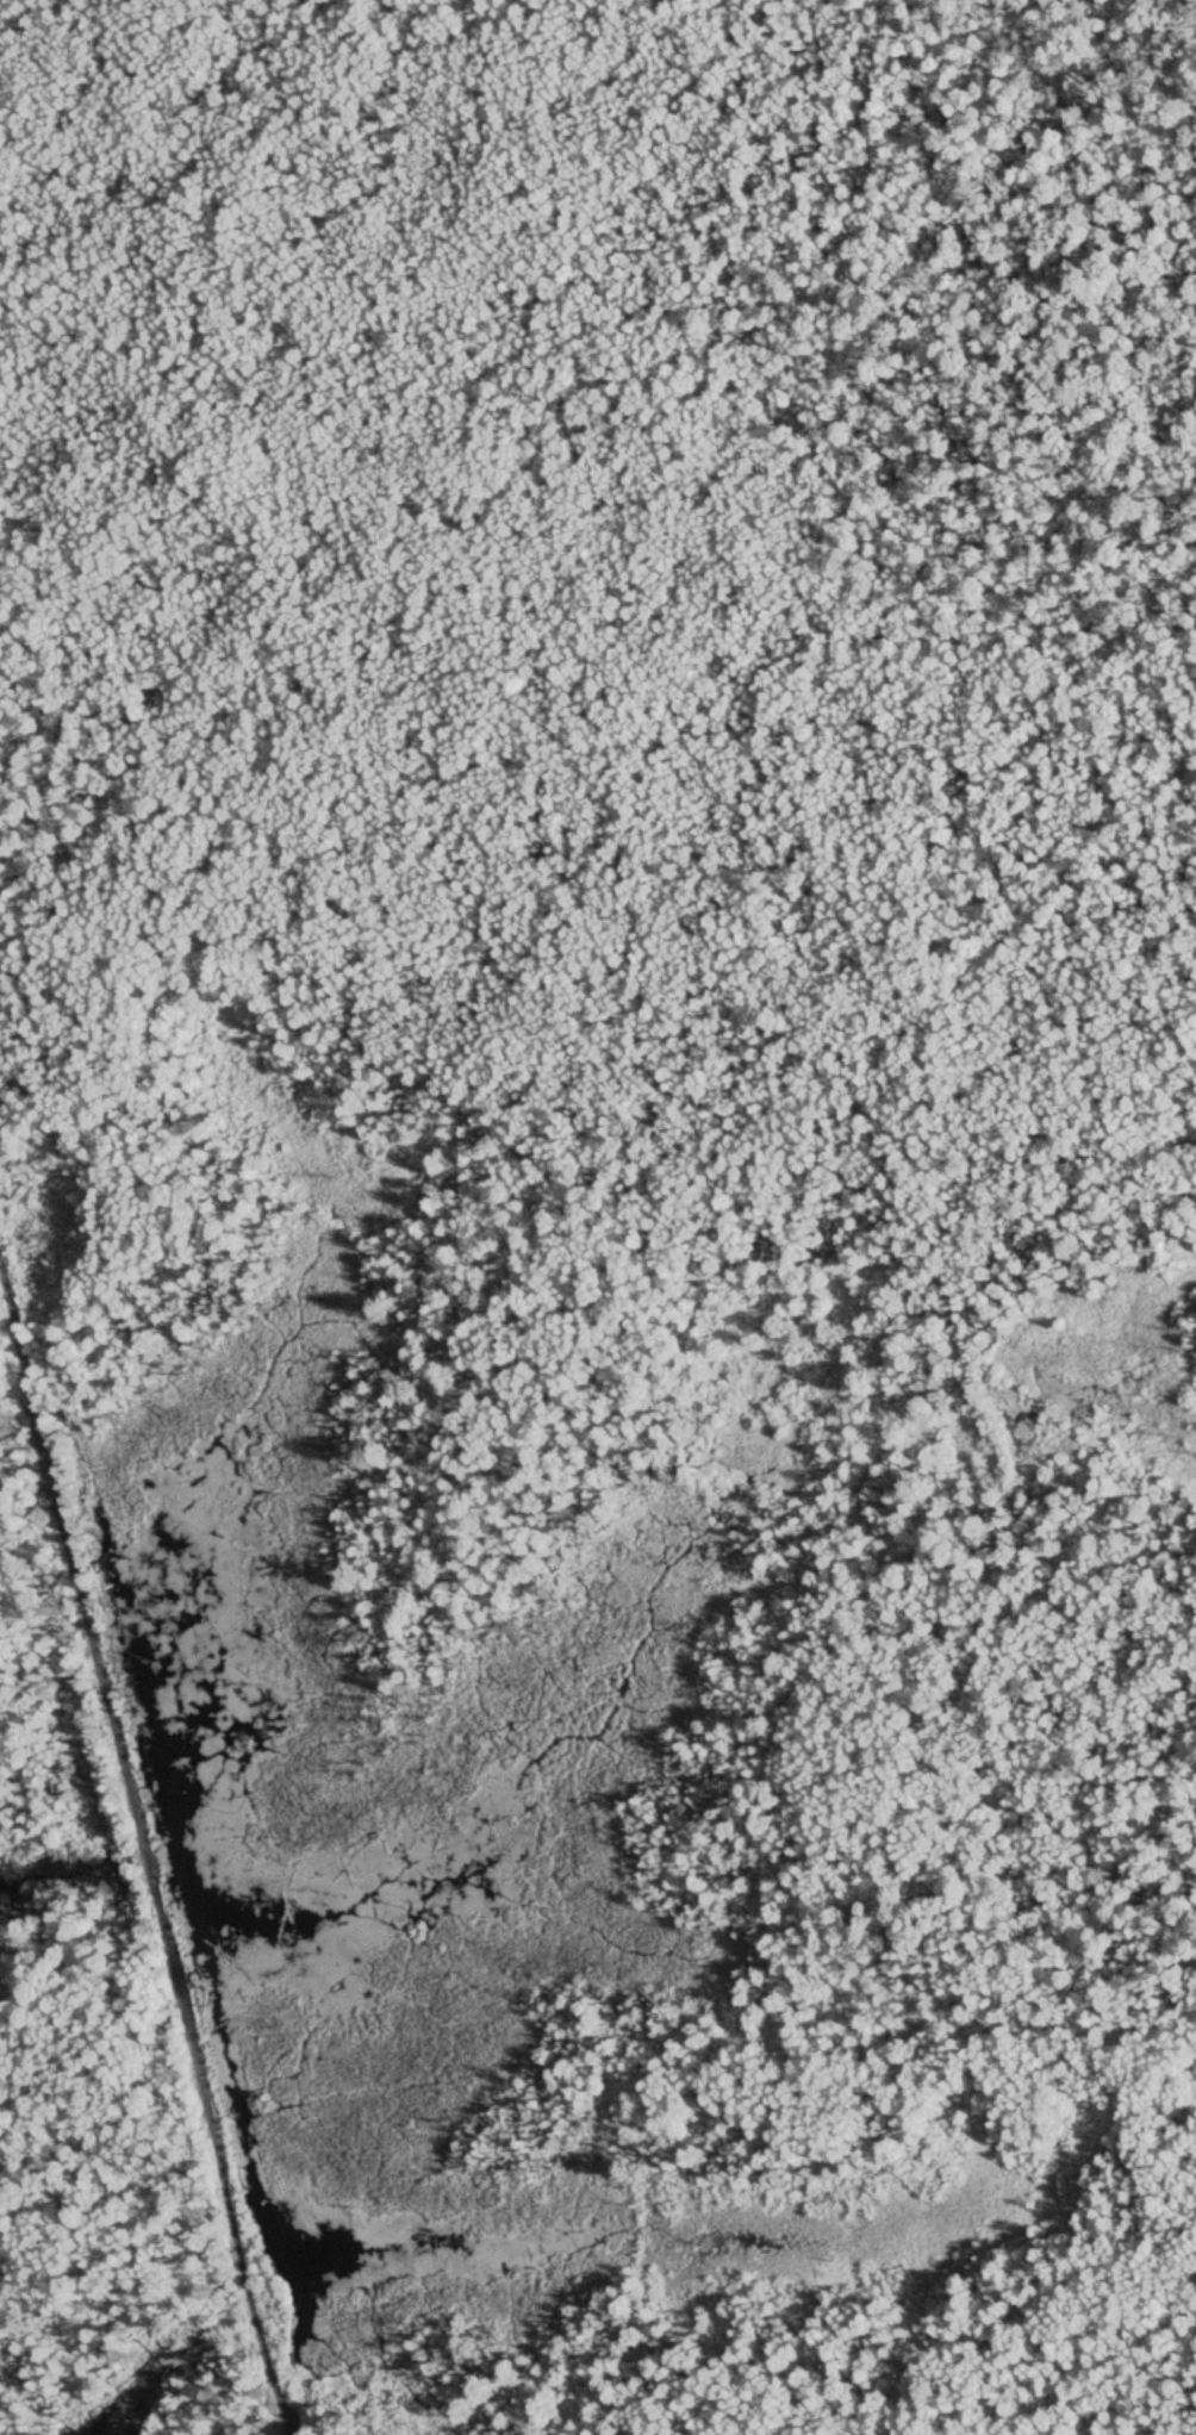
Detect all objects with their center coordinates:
road: (142, 1833)

